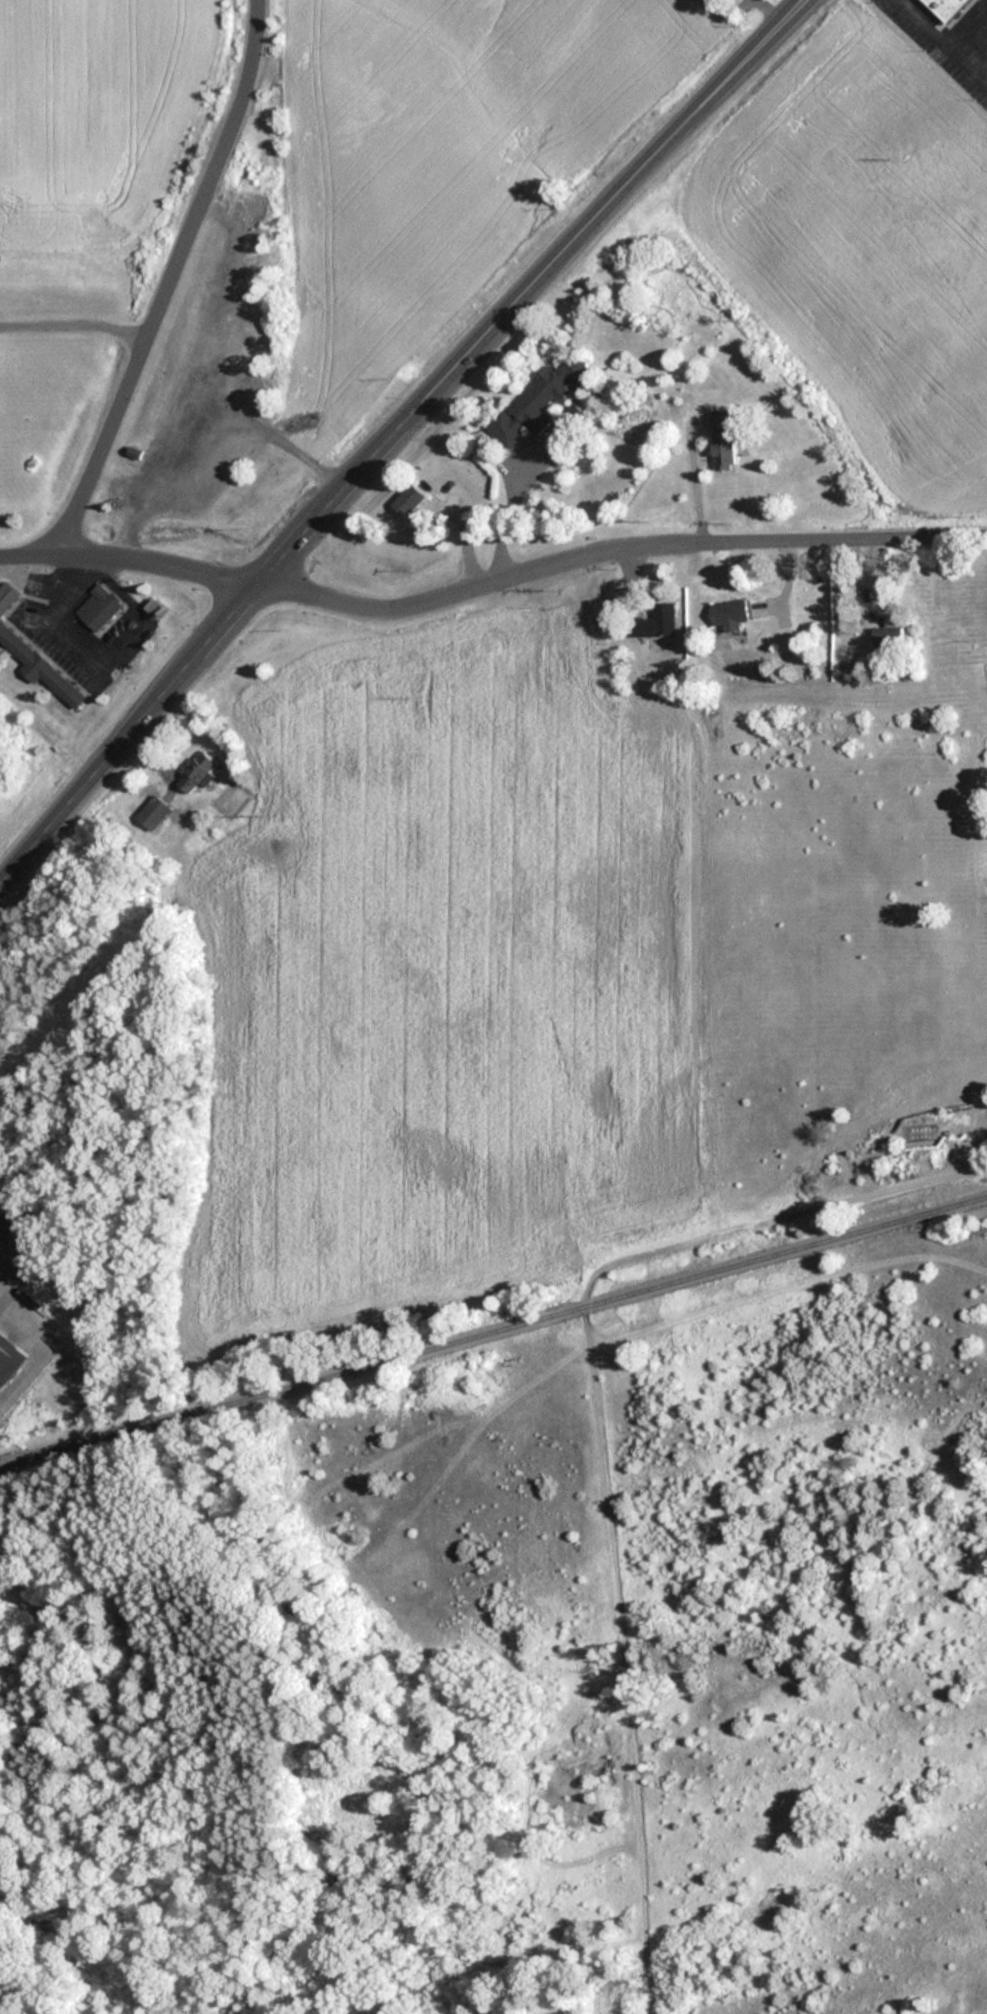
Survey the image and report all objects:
building: (945, 9)
road: (170, 279)
building: (241, 344)
building: (536, 400)
road: (392, 435)
building: (722, 439)
building: (134, 451)
building: (409, 500)
road: (491, 581)
building: (99, 607)
building: (730, 614)
building: (654, 622)
building: (888, 638)
building: (36, 645)
building: (197, 773)
building: (154, 812)
building: (0, 1242)
railway: (494, 1328)
building: (9, 1359)
road: (595, 1439)
park: (139, 1715)

